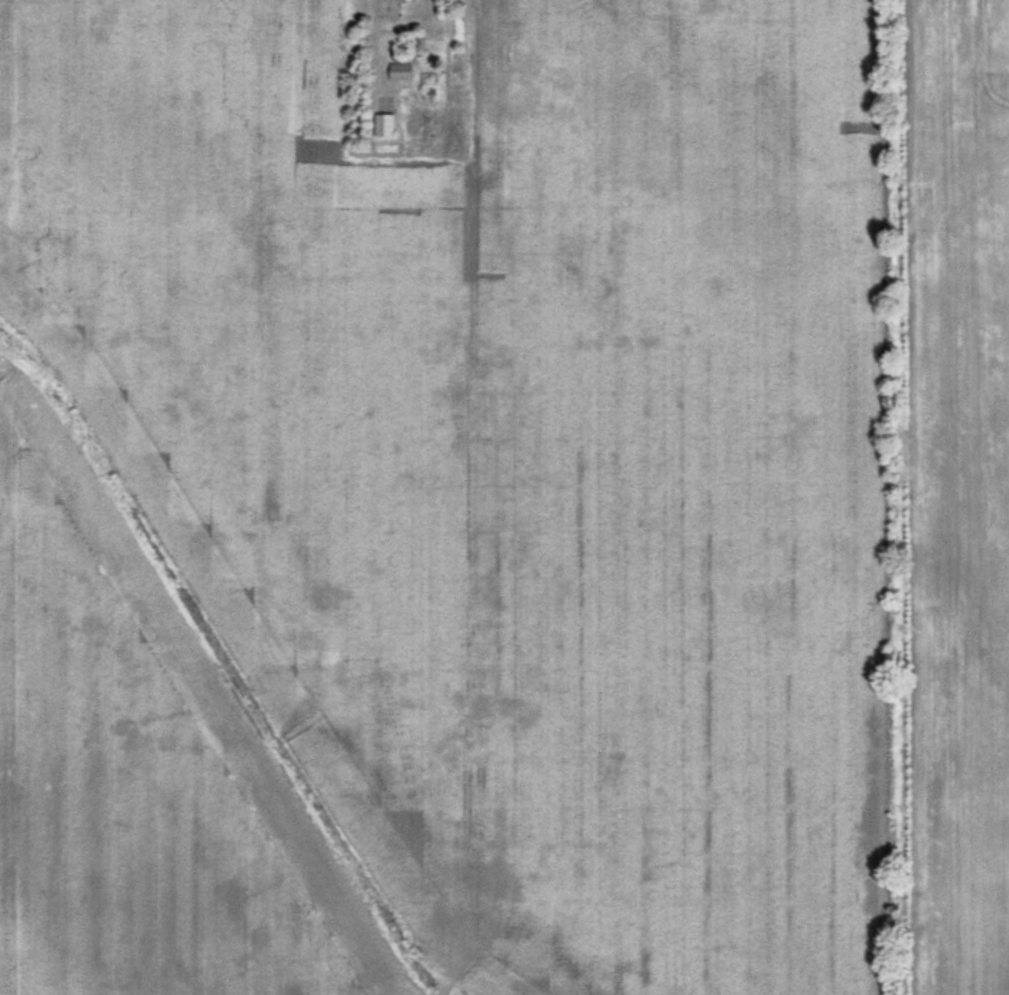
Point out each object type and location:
building: (400, 72)
building: (383, 125)

